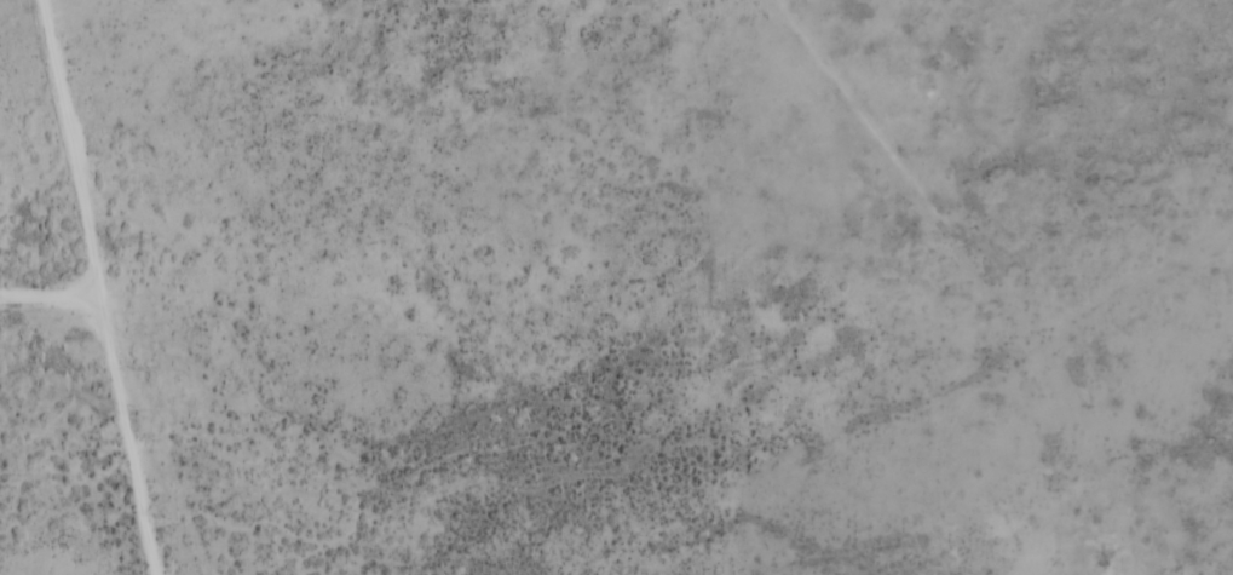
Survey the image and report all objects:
road: (98, 287)

